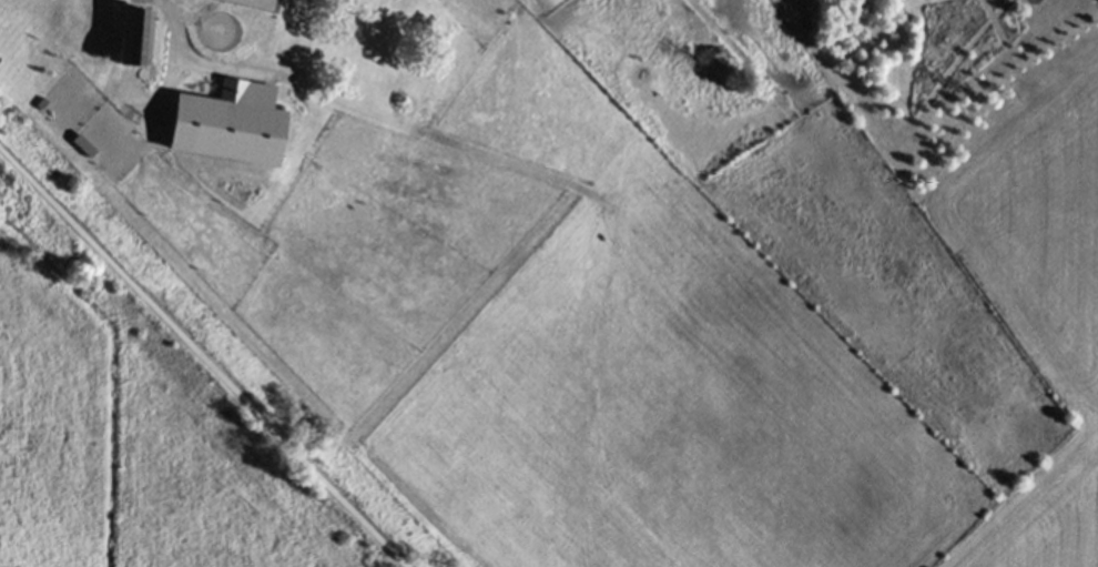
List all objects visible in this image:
road: (173, 23)
building: (134, 37)
road: (202, 357)

